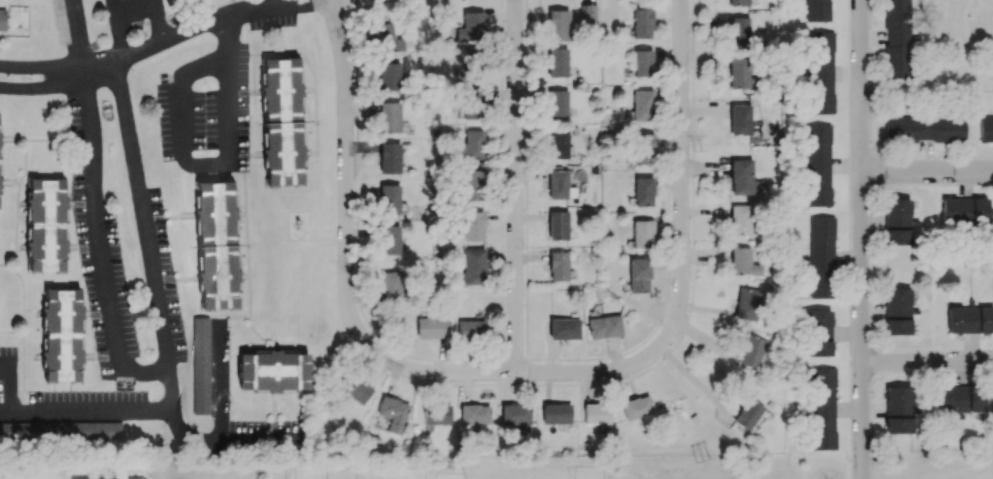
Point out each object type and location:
building: (738, 2)
road: (232, 6)
road: (128, 8)
road: (208, 10)
building: (816, 10)
parking lot: (133, 12)
building: (589, 13)
building: (3, 19)
road: (173, 19)
road: (158, 20)
parking lot: (60, 21)
parking lot: (273, 21)
building: (641, 23)
building: (557, 24)
building: (468, 27)
road: (185, 30)
building: (738, 31)
road: (75, 33)
road: (119, 34)
building: (385, 39)
building: (896, 39)
road: (965, 44)
road: (306, 60)
building: (557, 62)
building: (642, 62)
road: (34, 65)
building: (474, 69)
building: (739, 72)
building: (820, 72)
building: (388, 76)
road: (35, 83)
building: (280, 89)
road: (310, 89)
road: (225, 91)
road: (253, 91)
building: (470, 103)
building: (557, 103)
building: (641, 105)
parking lot: (205, 109)
road: (182, 113)
building: (389, 117)
building: (740, 119)
road: (683, 123)
building: (924, 128)
building: (986, 128)
road: (315, 140)
building: (557, 143)
building: (469, 146)
power tower: (706, 146)
building: (642, 148)
building: (282, 153)
road: (256, 154)
building: (389, 158)
building: (817, 164)
road: (928, 173)
building: (741, 177)
building: (557, 184)
building: (471, 185)
road: (516, 188)
building: (642, 191)
building: (388, 199)
road: (244, 207)
building: (964, 211)
building: (215, 212)
road: (237, 213)
road: (243, 213)
building: (739, 219)
building: (896, 221)
building: (471, 225)
building: (558, 225)
building: (45, 226)
road: (344, 229)
building: (642, 234)
road: (145, 235)
road: (97, 239)
building: (389, 239)
road: (849, 239)
road: (862, 239)
building: (821, 257)
building: (742, 262)
parking lot: (99, 263)
building: (558, 266)
building: (471, 267)
parking lot: (167, 273)
road: (246, 275)
building: (638, 275)
building: (217, 277)
building: (391, 285)
road: (248, 302)
building: (745, 303)
building: (897, 311)
road: (233, 317)
building: (970, 319)
building: (604, 326)
building: (430, 327)
building: (469, 328)
building: (564, 328)
building: (818, 333)
building: (61, 336)
road: (273, 348)
building: (750, 351)
building: (201, 365)
road: (927, 366)
building: (272, 370)
road: (621, 370)
road: (218, 379)
parking lot: (8, 383)
road: (7, 386)
building: (355, 389)
road: (273, 393)
parking lot: (87, 394)
building: (960, 398)
road: (273, 407)
building: (636, 407)
building: (822, 408)
building: (898, 410)
road: (167, 411)
building: (393, 413)
building: (556, 413)
building: (596, 413)
building: (436, 414)
building: (746, 414)
building: (475, 416)
building: (516, 416)
parking lot: (272, 423)
building: (60, 429)
power tower: (708, 462)
building: (78, 477)
building: (135, 477)

